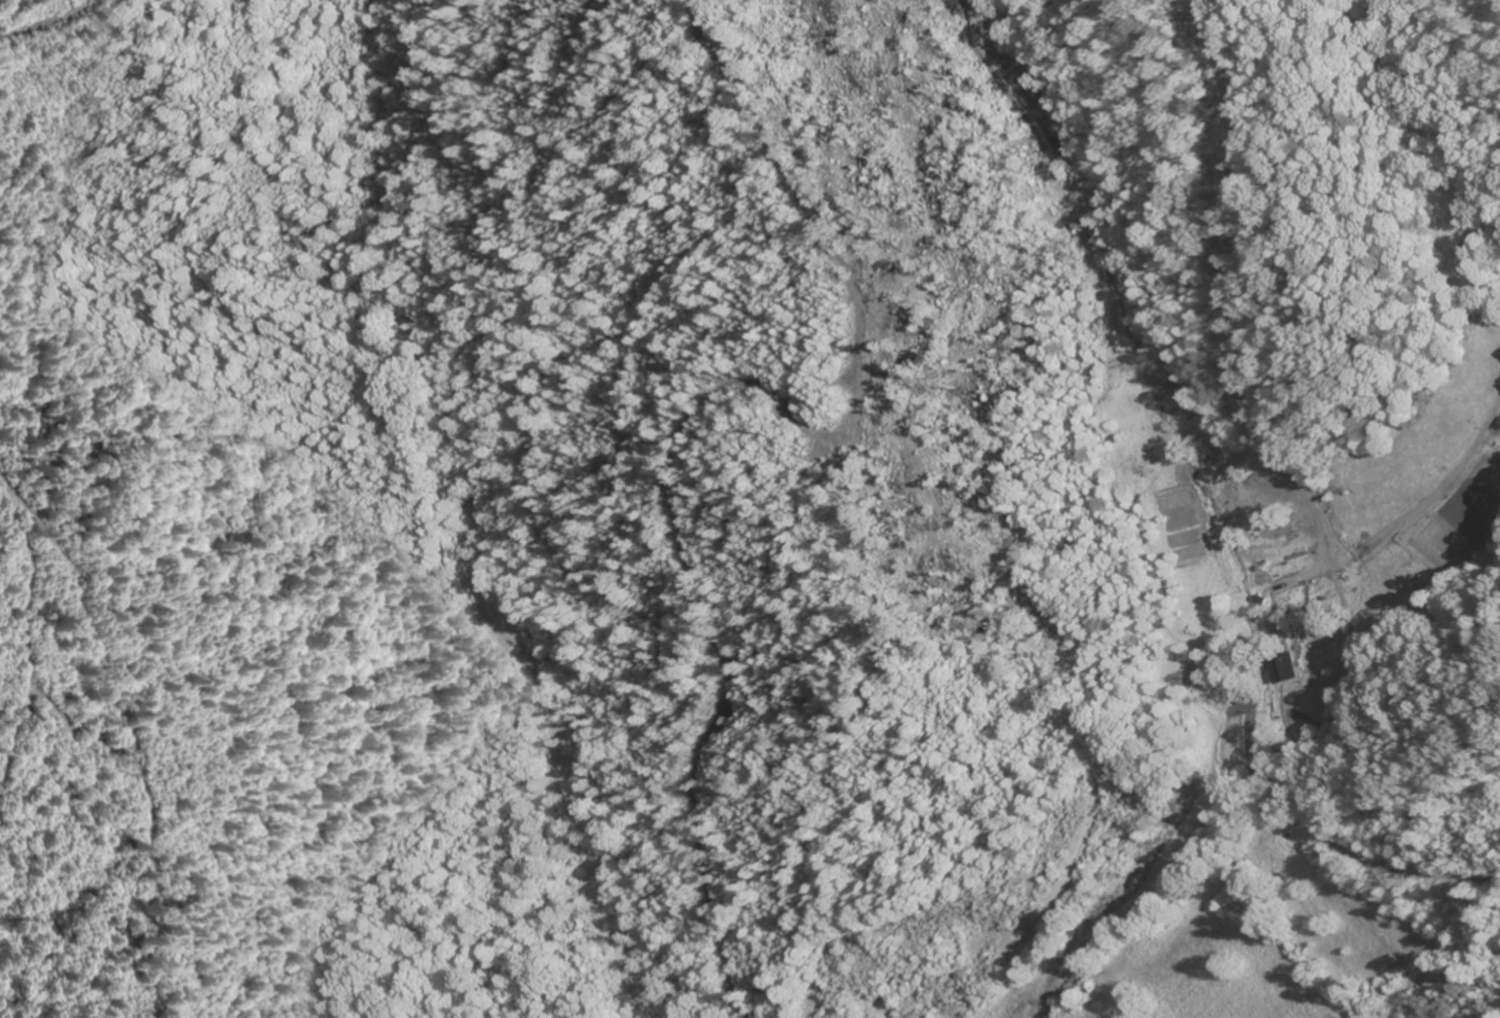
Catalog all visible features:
building: (1263, 533)

